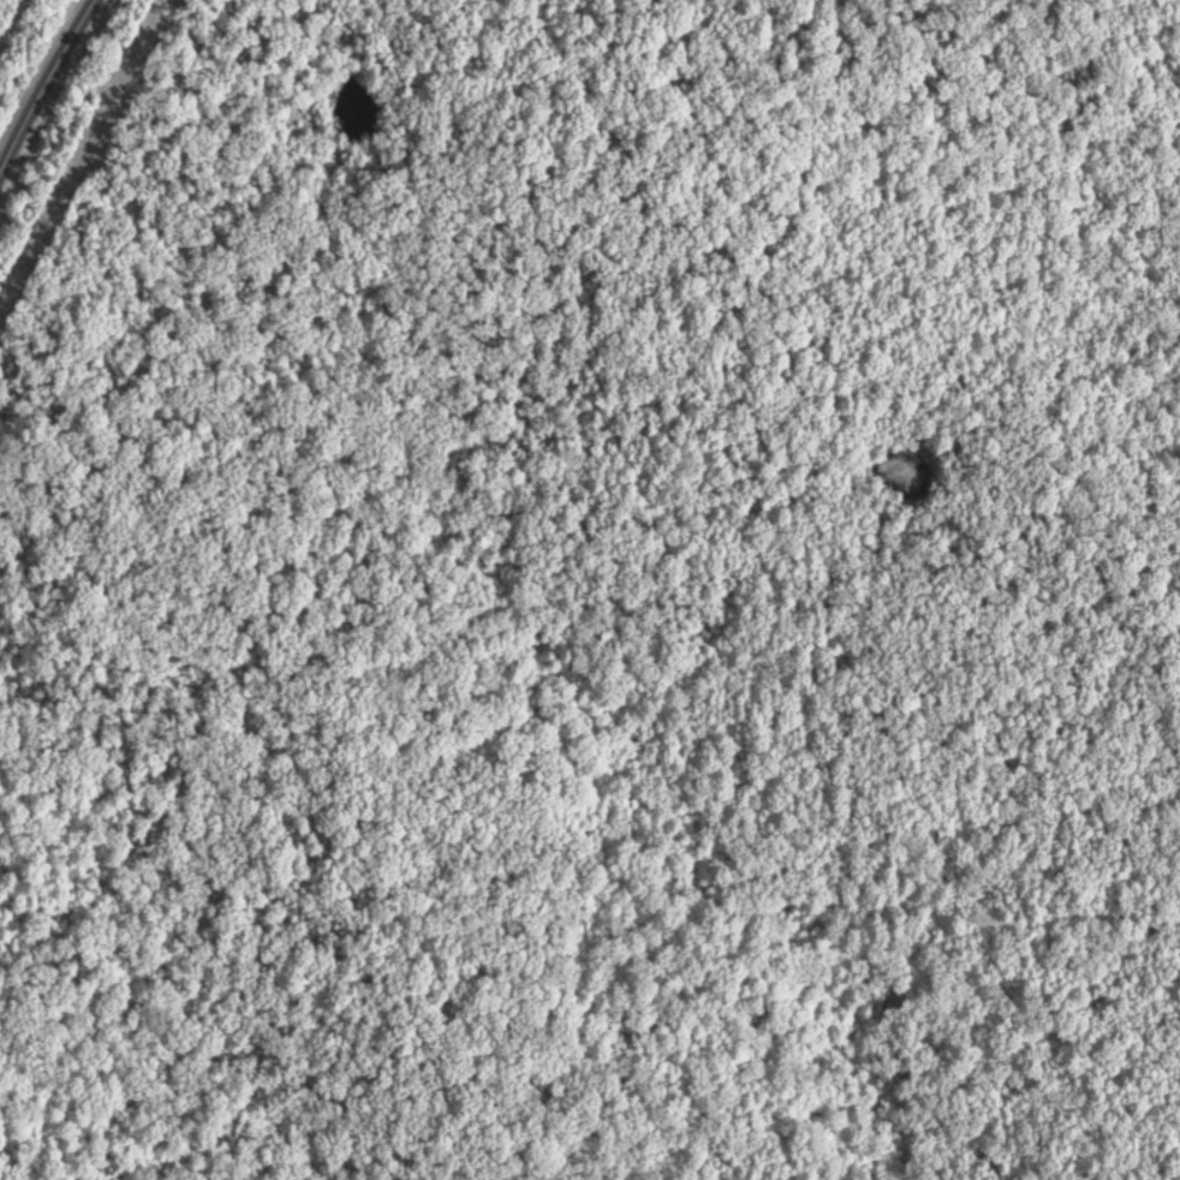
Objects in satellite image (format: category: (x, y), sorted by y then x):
road: (25, 34)
road: (53, 89)

